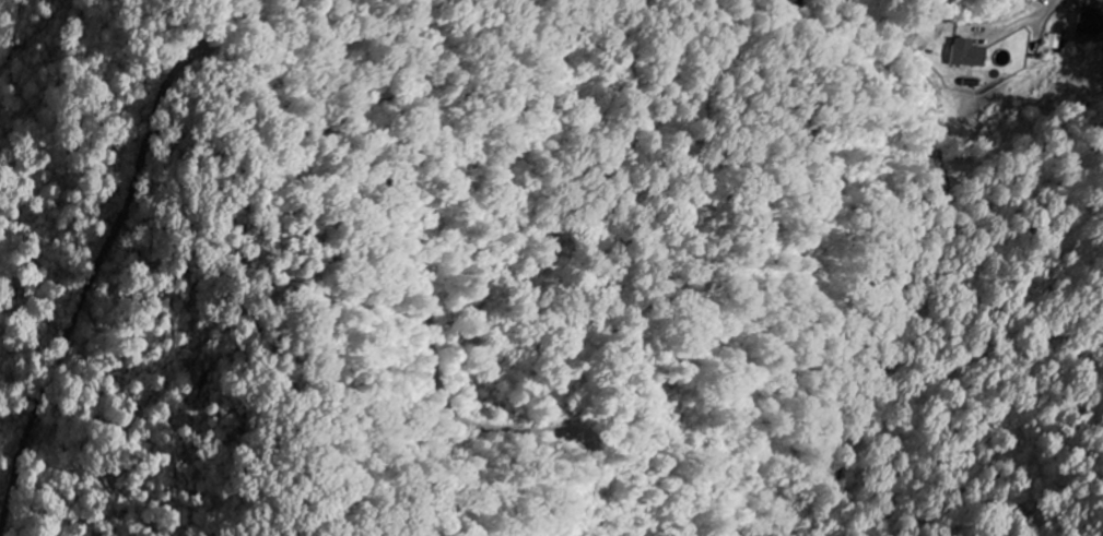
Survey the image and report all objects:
road: (1053, 15)
building: (1059, 40)
building: (967, 52)
road: (294, 147)

